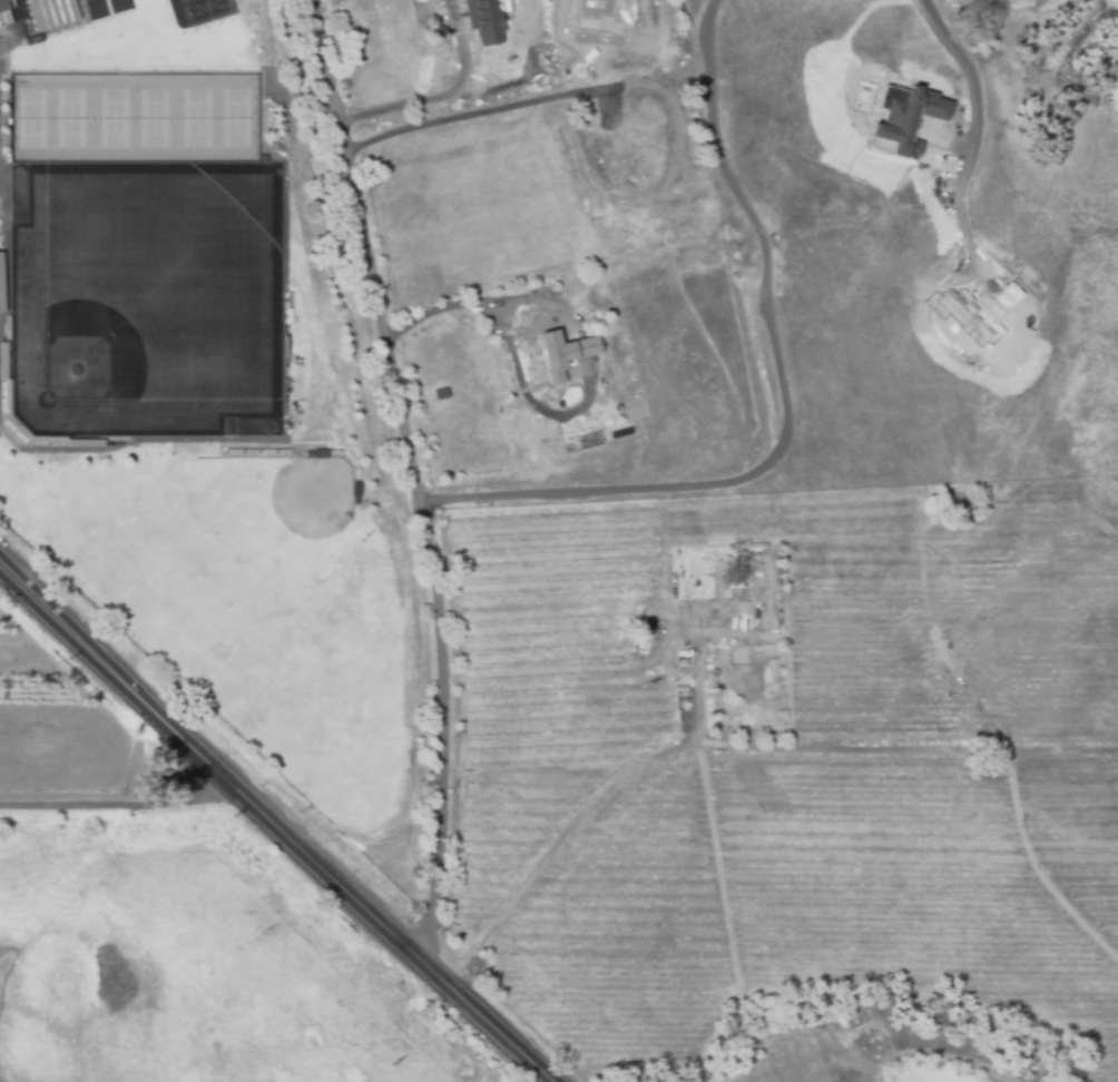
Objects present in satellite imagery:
building: (213, 8)
building: (4, 11)
building: (52, 12)
building: (483, 20)
road: (461, 48)
road: (445, 96)
road: (486, 112)
park: (30, 118)
park: (69, 118)
park: (114, 118)
park: (153, 118)
park: (196, 118)
park: (235, 118)
building: (903, 119)
road: (969, 145)
building: (0, 286)
park: (157, 287)
road: (583, 341)
building: (563, 353)
building: (440, 393)
road: (784, 403)
building: (437, 473)
road: (413, 476)
road: (700, 689)
road: (729, 745)
road: (1101, 776)
road: (125, 801)
road: (274, 825)

